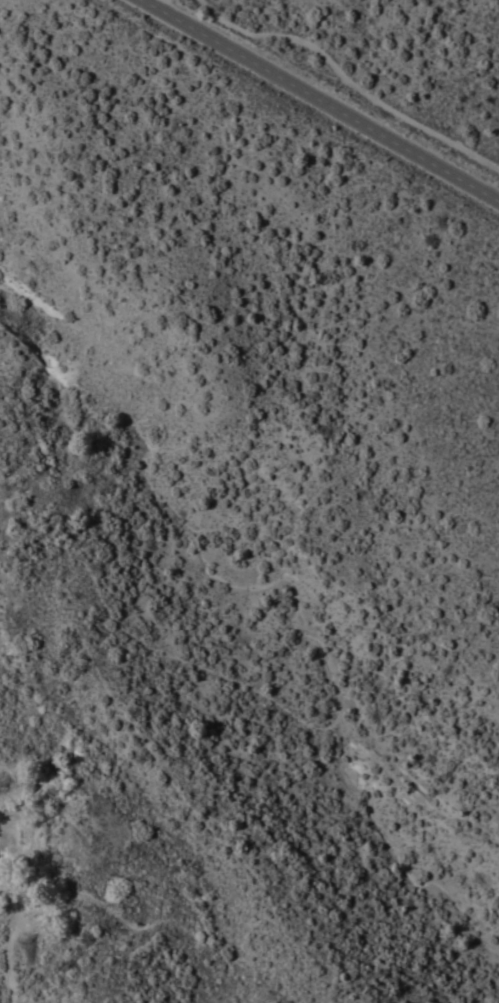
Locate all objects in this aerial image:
road: (156, 2)
road: (323, 99)
road: (11, 942)

